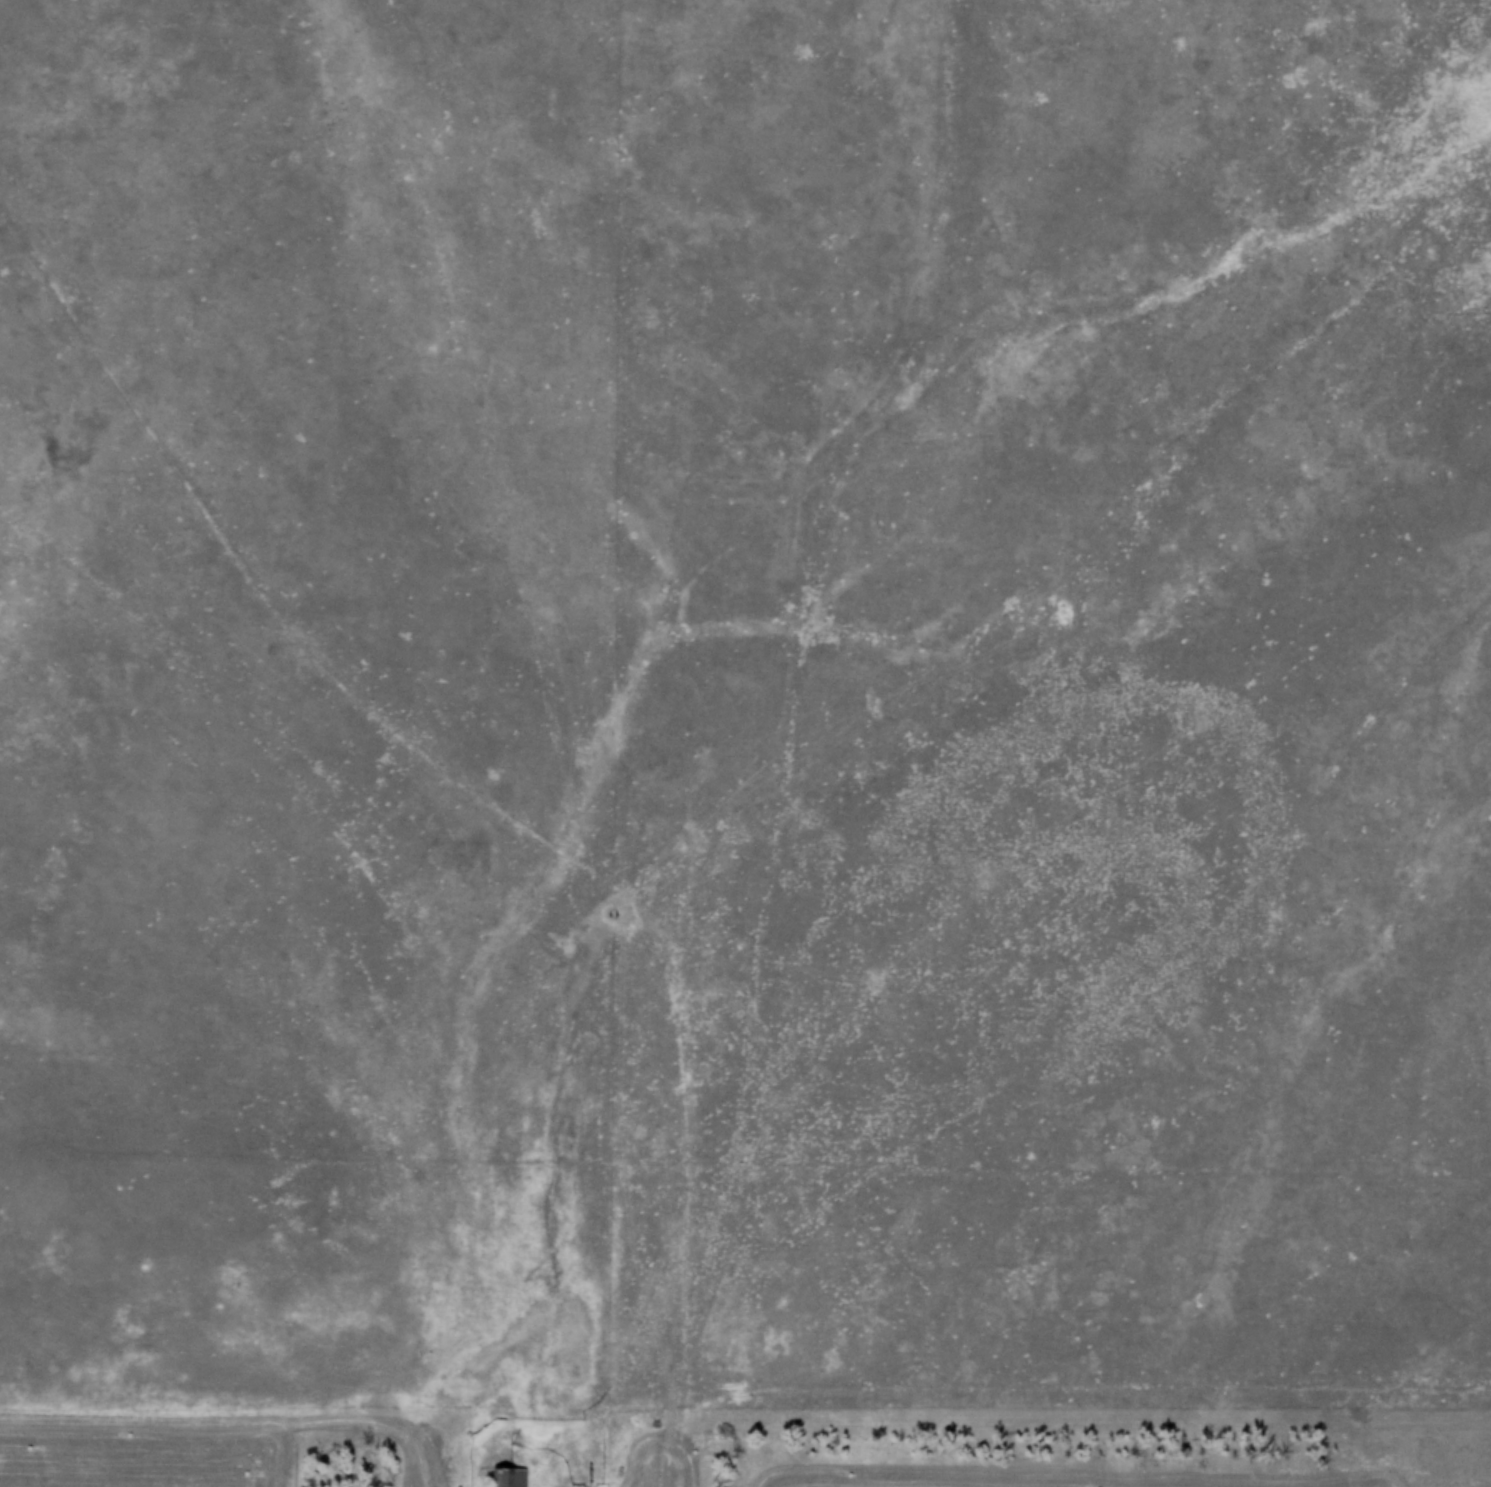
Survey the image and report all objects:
building: (508, 1478)

